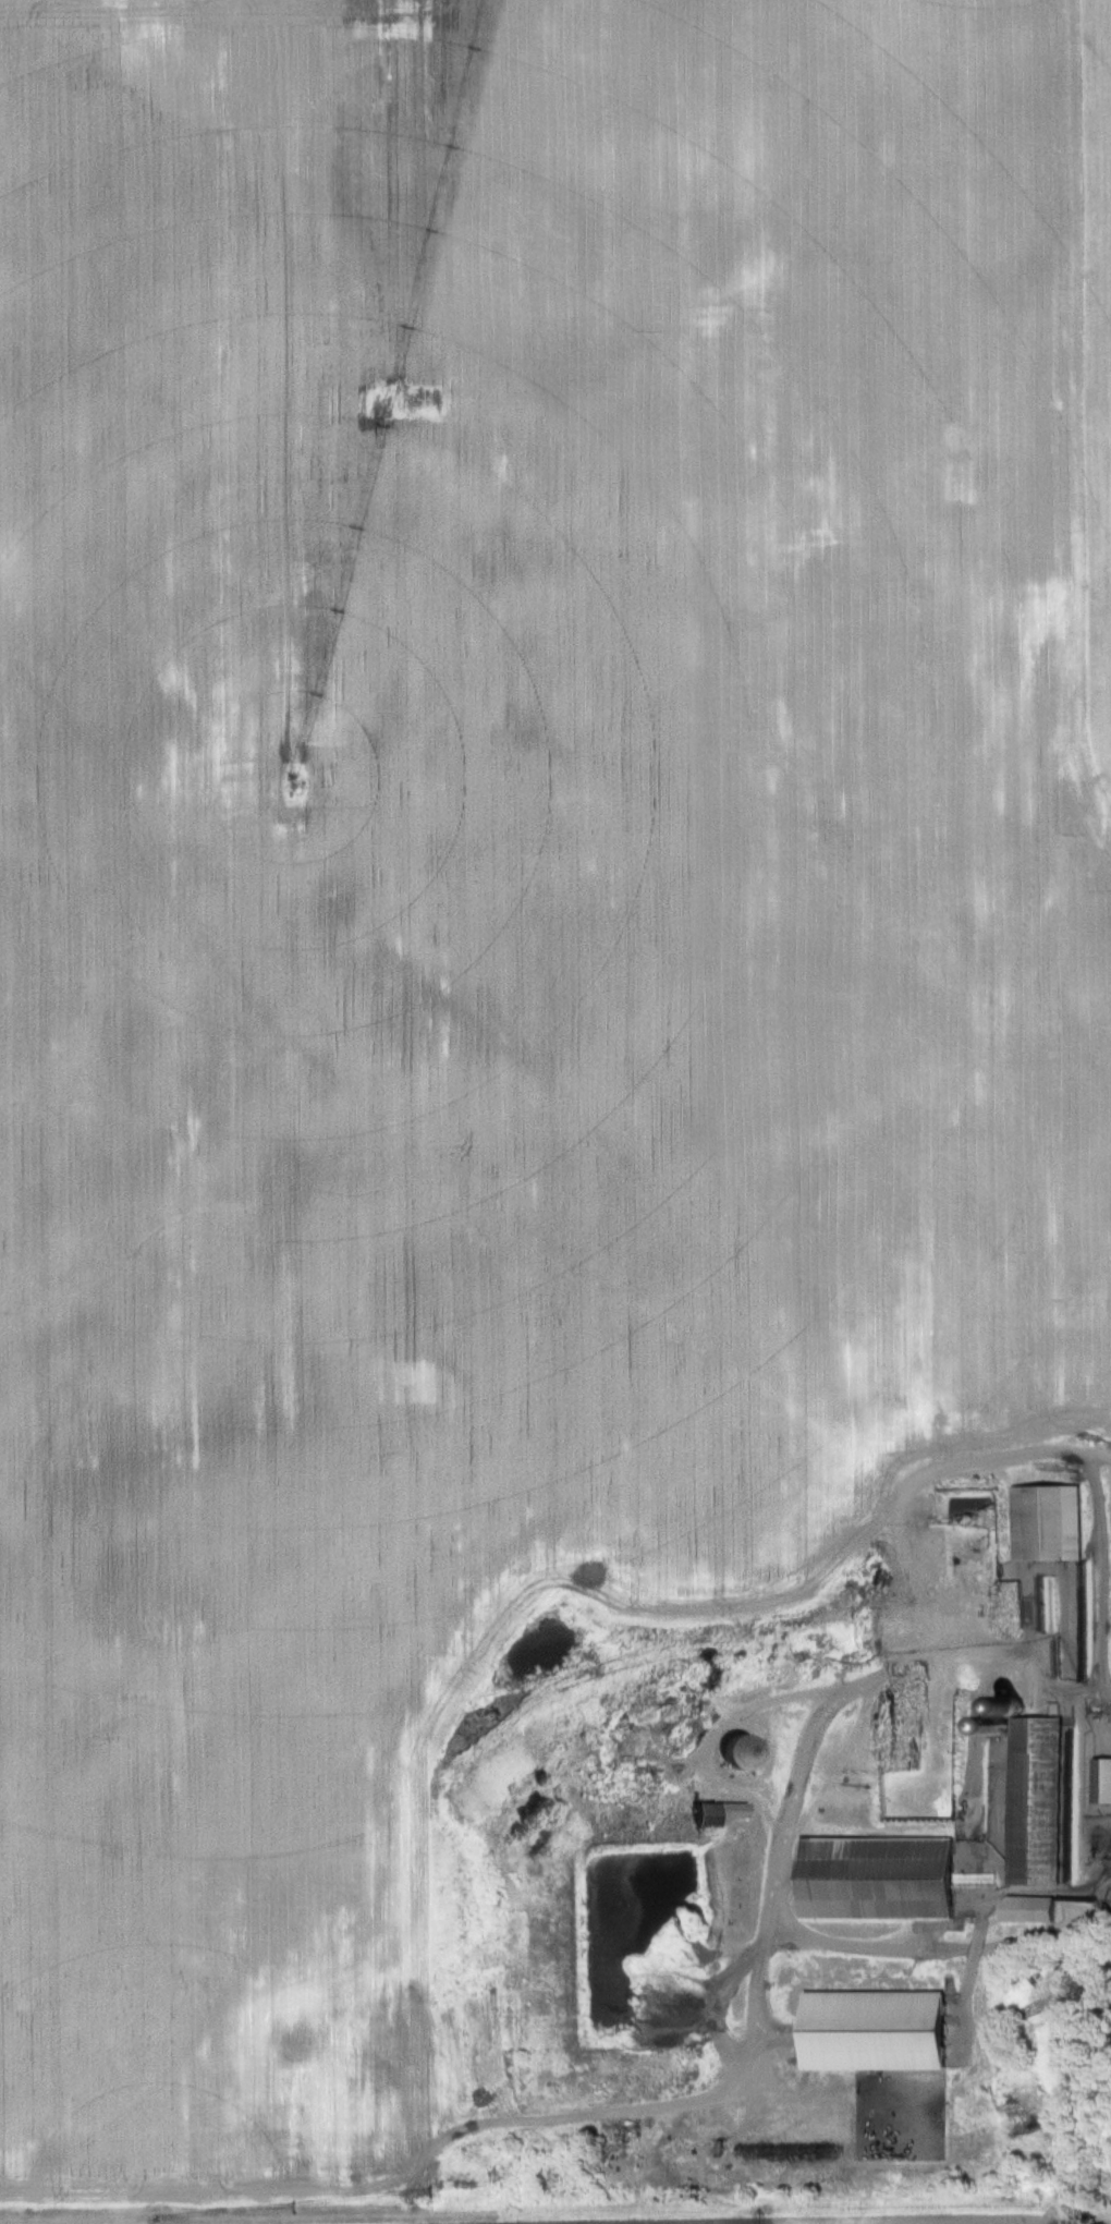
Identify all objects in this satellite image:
building: (1048, 1524)
road: (899, 1555)
building: (738, 1753)
building: (1102, 1782)
building: (1036, 1801)
building: (717, 1813)
building: (878, 1880)
building: (1029, 1909)
building: (914, 2073)

